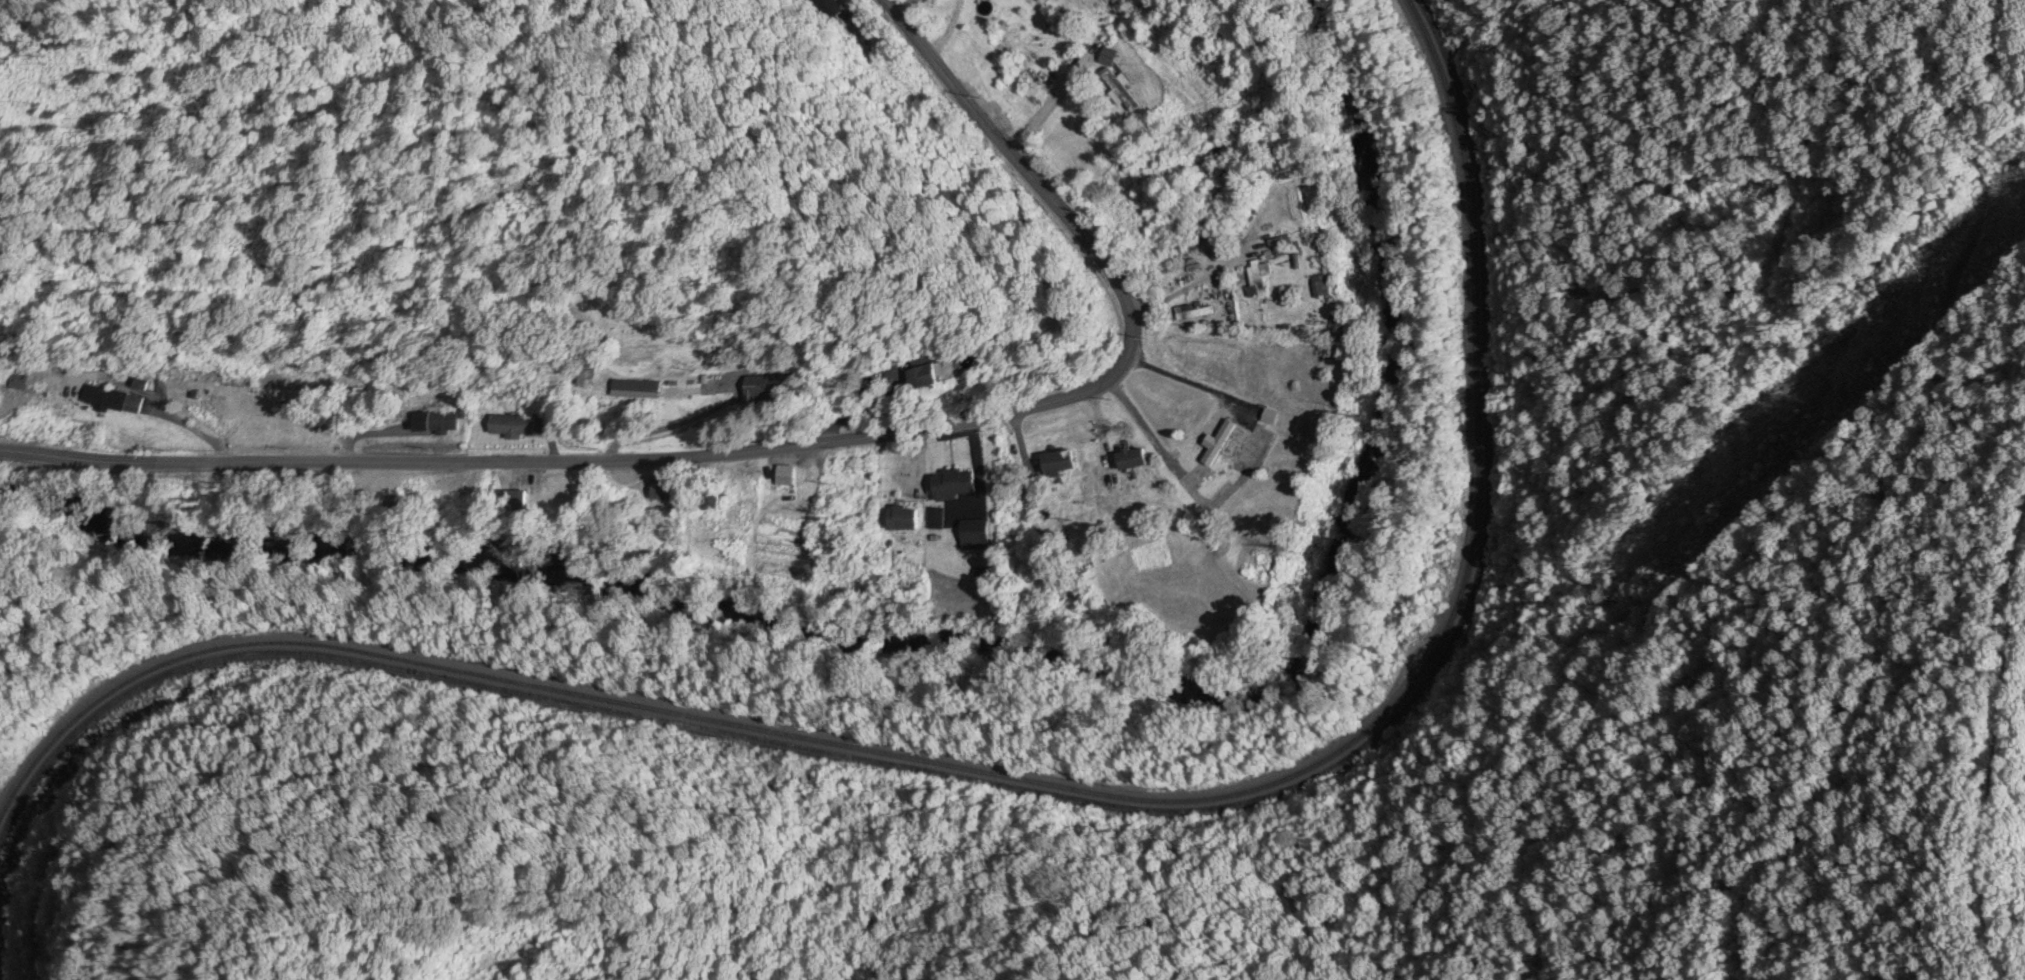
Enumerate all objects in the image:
building: (1091, 5)
building: (1108, 59)
building: (1119, 92)
building: (1296, 258)
building: (1258, 280)
building: (1193, 313)
building: (925, 375)
road: (1183, 380)
building: (761, 390)
building: (113, 403)
building: (437, 423)
building: (511, 427)
building: (259, 436)
building: (1229, 441)
road: (794, 446)
building: (1132, 459)
building: (1060, 462)
building: (786, 476)
building: (956, 484)
building: (661, 491)
building: (709, 500)
building: (513, 501)
building: (905, 519)
building: (937, 519)
building: (976, 535)
railway: (1040, 785)

